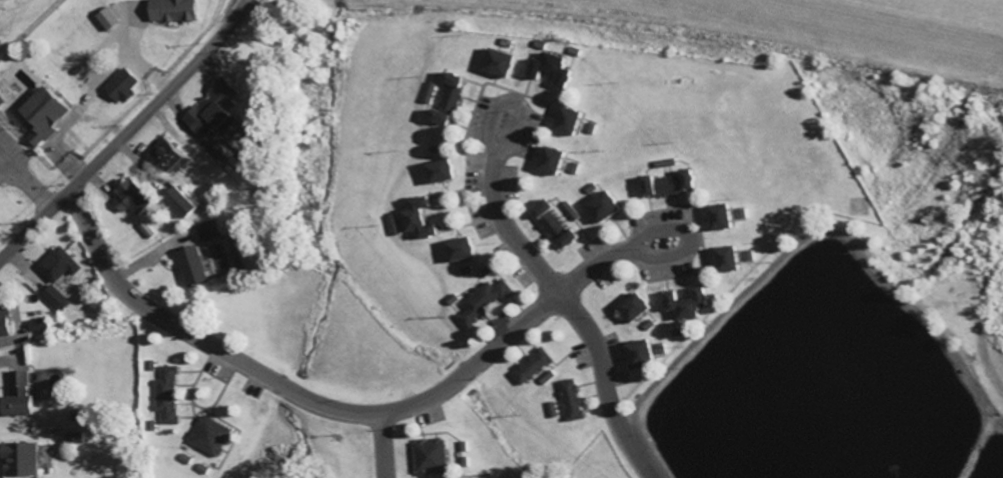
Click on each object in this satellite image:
building: (177, 10)
building: (110, 19)
building: (506, 62)
building: (558, 69)
building: (125, 86)
building: (452, 97)
building: (2, 101)
building: (219, 107)
building: (46, 115)
building: (576, 120)
road: (127, 131)
building: (174, 157)
building: (558, 160)
building: (448, 171)
building: (675, 183)
building: (134, 198)
building: (187, 202)
building: (610, 207)
building: (725, 217)
building: (421, 219)
building: (560, 226)
building: (212, 230)
building: (468, 249)
building: (733, 259)
building: (61, 265)
building: (199, 266)
building: (57, 298)
building: (486, 302)
building: (693, 303)
building: (641, 308)
road: (569, 310)
building: (6, 322)
building: (40, 325)
building: (646, 354)
building: (534, 367)
building: (549, 377)
park: (818, 384)
building: (27, 392)
building: (170, 397)
building: (574, 398)
road: (330, 403)
building: (213, 436)
road: (382, 444)
building: (432, 457)
building: (24, 459)

